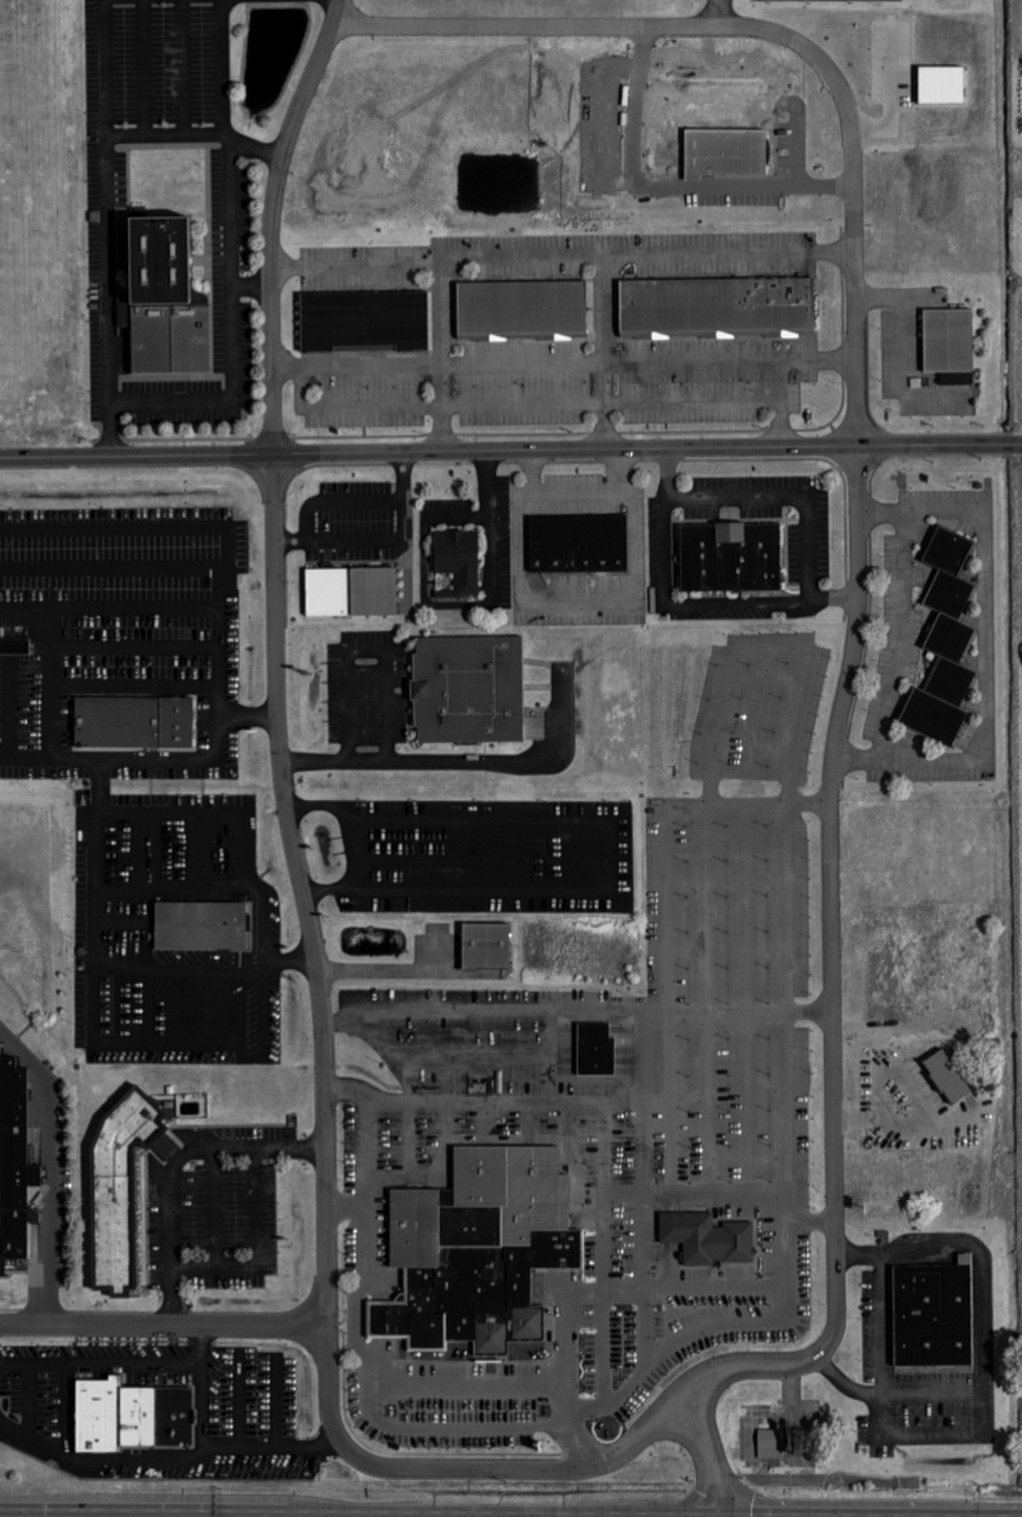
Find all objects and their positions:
road: (718, 13)
road: (601, 25)
building: (942, 84)
road: (197, 132)
building: (726, 152)
road: (667, 186)
road: (271, 221)
road: (109, 228)
road: (562, 256)
road: (231, 263)
road: (251, 285)
building: (163, 299)
building: (717, 307)
building: (522, 311)
building: (123, 315)
building: (364, 322)
building: (950, 345)
road: (606, 352)
road: (444, 358)
road: (892, 360)
road: (563, 362)
road: (781, 380)
road: (547, 402)
road: (510, 451)
road: (670, 472)
road: (578, 495)
road: (347, 501)
road: (807, 501)
road: (492, 526)
road: (667, 534)
road: (227, 537)
road: (424, 543)
building: (579, 544)
road: (496, 554)
building: (730, 558)
building: (458, 562)
road: (112, 570)
building: (352, 592)
road: (671, 598)
road: (731, 603)
road: (110, 609)
road: (899, 635)
building: (945, 645)
building: (15, 646)
road: (136, 646)
road: (356, 653)
road: (51, 684)
road: (136, 688)
building: (468, 690)
road: (11, 711)
building: (133, 724)
road: (53, 759)
road: (158, 761)
road: (463, 762)
road: (831, 802)
road: (352, 843)
road: (92, 885)
road: (785, 888)
building: (202, 926)
road: (259, 931)
building: (486, 948)
road: (314, 954)
road: (397, 978)
road: (597, 1010)
road: (688, 1010)
road: (483, 1011)
building: (596, 1051)
building: (948, 1077)
road: (624, 1103)
road: (859, 1116)
building: (15, 1164)
road: (56, 1166)
road: (175, 1171)
road: (367, 1171)
building: (122, 1187)
building: (707, 1238)
building: (479, 1253)
building: (934, 1315)
road: (984, 1315)
road: (710, 1324)
road: (164, 1325)
road: (883, 1343)
road: (204, 1346)
road: (102, 1364)
road: (420, 1387)
road: (203, 1409)
building: (132, 1416)
building: (778, 1441)
road: (232, 1446)
road: (710, 1454)
road: (63, 1456)
road: (522, 1471)
road: (695, 1493)
road: (90, 1516)

